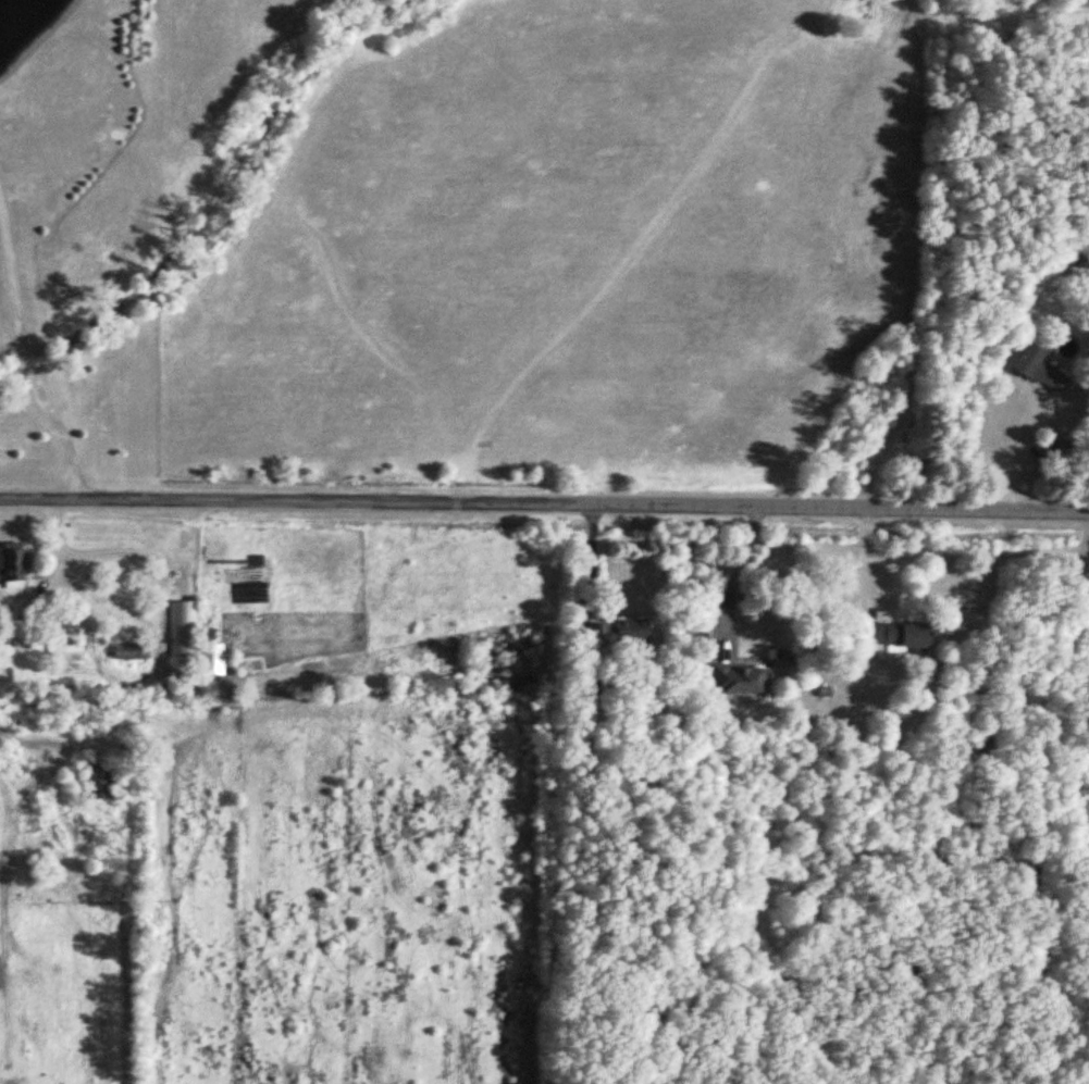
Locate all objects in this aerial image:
road: (26, 356)
building: (1040, 371)
road: (1022, 447)
road: (544, 503)
building: (11, 564)
road: (735, 578)
building: (617, 633)
building: (896, 636)
building: (191, 638)
building: (64, 652)
building: (129, 652)
building: (739, 678)

